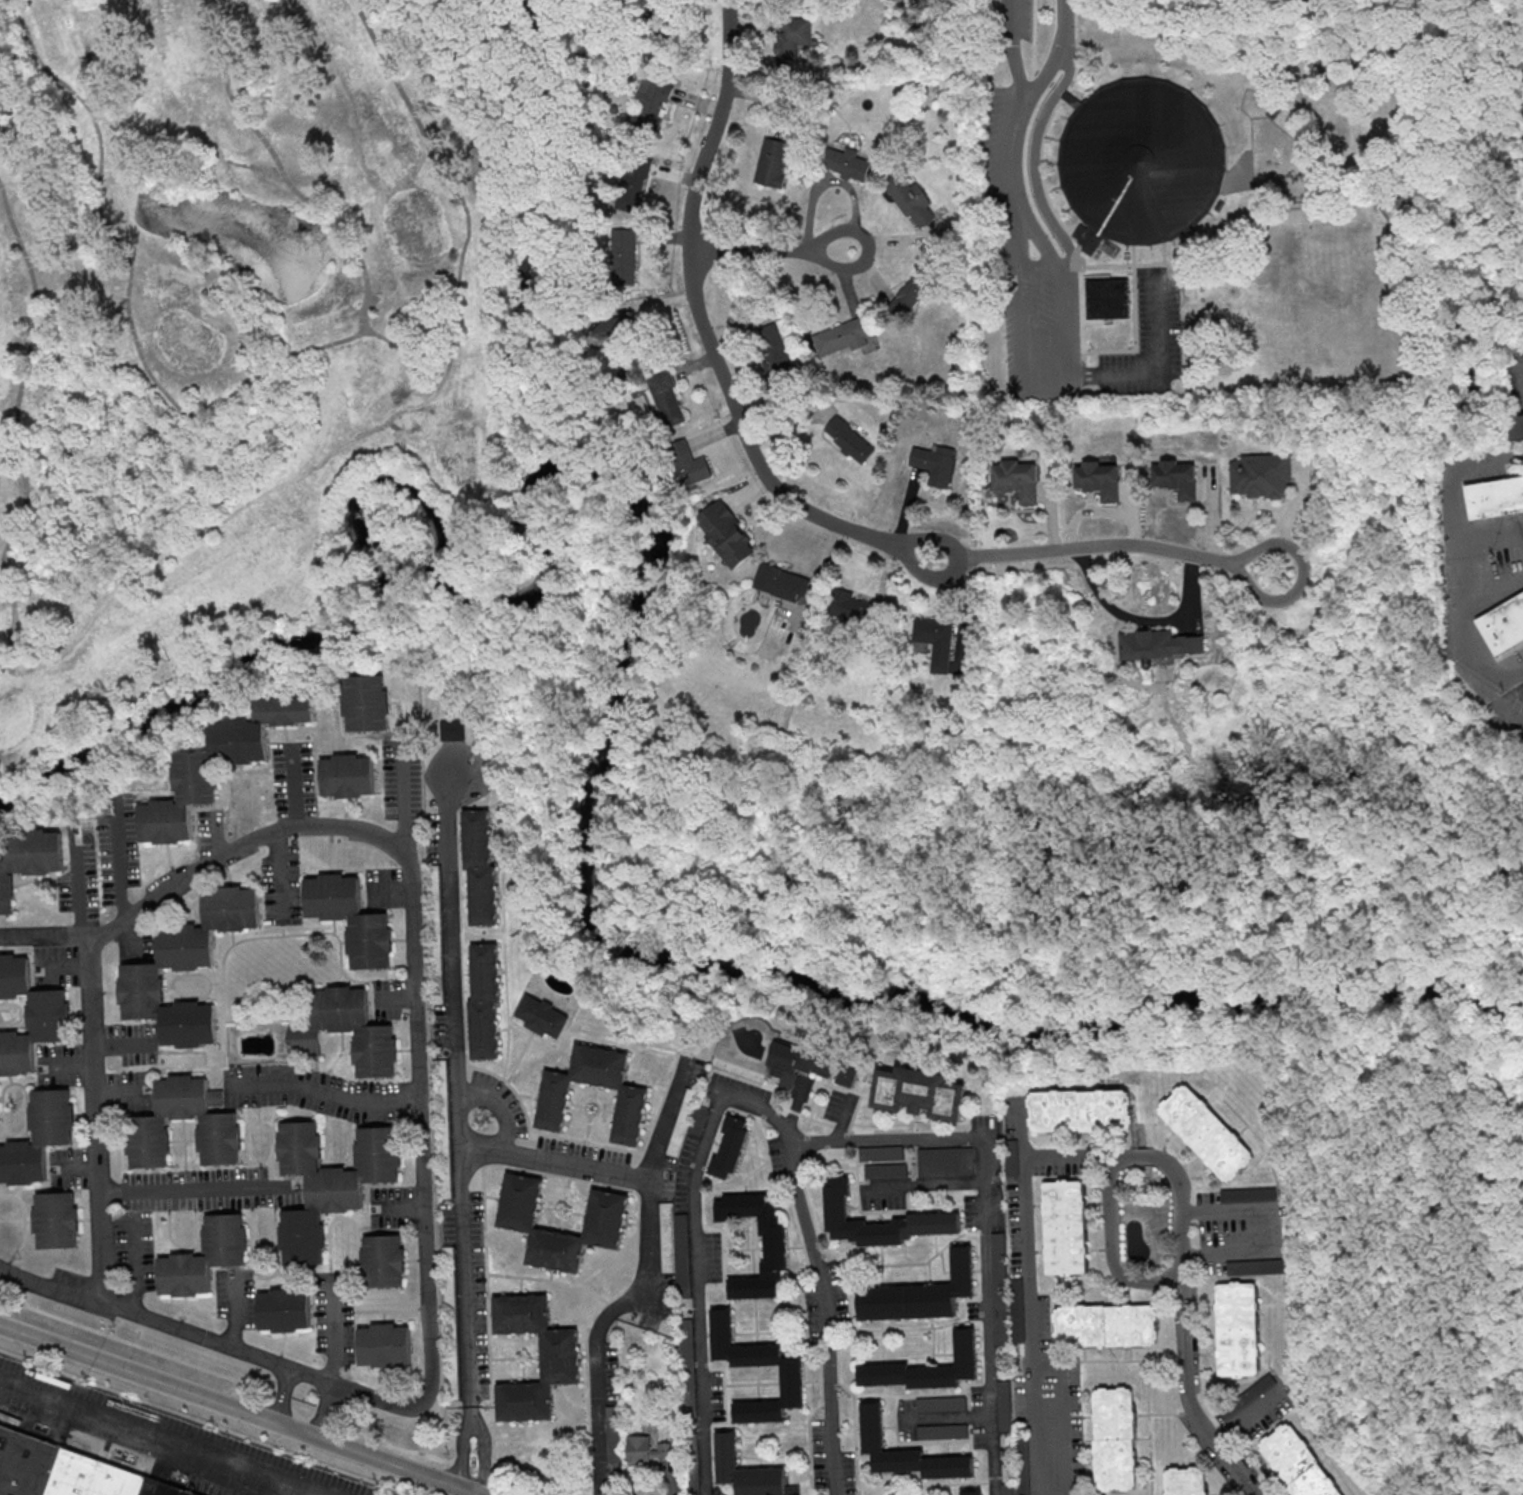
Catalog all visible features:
building: (792, 39)
road: (1012, 54)
road: (1060, 57)
road: (39, 59)
building: (650, 103)
building: (773, 161)
building: (845, 162)
building: (1139, 163)
building: (633, 185)
road: (1017, 189)
building: (911, 197)
road: (1023, 239)
building: (621, 248)
road: (783, 250)
road: (1040, 265)
building: (911, 293)
road: (374, 300)
building: (1109, 300)
road: (1064, 320)
building: (613, 326)
park: (235, 333)
building: (841, 334)
road: (375, 336)
building: (397, 341)
road: (1025, 345)
road: (711, 346)
building: (773, 347)
road: (1158, 369)
road: (251, 384)
building: (663, 395)
building: (1516, 425)
building: (849, 438)
building: (932, 462)
building: (689, 463)
building: (1258, 473)
building: (1172, 477)
building: (1014, 478)
building: (1095, 478)
building: (1494, 496)
building: (727, 533)
road: (182, 541)
road: (1118, 545)
road: (1464, 566)
building: (779, 580)
river: (376, 590)
building: (850, 605)
road: (1143, 619)
building: (1502, 622)
building: (934, 640)
building: (1154, 643)
building: (364, 701)
building: (454, 729)
building: (348, 775)
building: (198, 781)
road: (292, 784)
road: (403, 796)
building: (26, 856)
road: (117, 859)
building: (482, 866)
road: (277, 875)
road: (77, 888)
building: (348, 917)
building: (438, 933)
road: (63, 964)
river: (739, 967)
building: (137, 971)
road: (396, 997)
building: (487, 1000)
river: (1490, 1000)
building: (29, 1014)
building: (544, 1015)
building: (373, 1033)
road: (121, 1042)
building: (811, 1062)
road: (68, 1063)
building: (444, 1081)
road: (455, 1083)
road: (116, 1092)
building: (920, 1093)
road: (322, 1094)
road: (500, 1104)
building: (553, 1107)
building: (1081, 1109)
road: (95, 1118)
road: (842, 1118)
building: (687, 1120)
building: (144, 1121)
road: (420, 1131)
building: (1208, 1131)
building: (36, 1136)
road: (842, 1143)
building: (731, 1146)
building: (881, 1152)
building: (1012, 1157)
road: (553, 1161)
building: (946, 1161)
road: (72, 1166)
building: (886, 1170)
building: (446, 1175)
building: (330, 1182)
road: (929, 1183)
road: (190, 1190)
building: (1250, 1194)
building: (833, 1202)
road: (400, 1206)
building: (603, 1209)
building: (53, 1218)
building: (1066, 1226)
road: (1275, 1231)
building: (772, 1247)
road: (1113, 1248)
building: (201, 1256)
building: (380, 1260)
road: (1185, 1266)
road: (134, 1268)
road: (638, 1282)
road: (697, 1292)
building: (916, 1293)
building: (284, 1309)
building: (1018, 1314)
road: (987, 1315)
road: (823, 1317)
building: (452, 1322)
building: (1107, 1325)
road: (1032, 1326)
building: (1239, 1328)
road: (333, 1330)
building: (1002, 1333)
building: (385, 1344)
building: (556, 1357)
building: (740, 1365)
building: (923, 1367)
building: (691, 1393)
road: (280, 1395)
building: (1250, 1396)
building: (941, 1403)
road: (242, 1410)
road: (324, 1410)
road: (946, 1417)
road: (1063, 1420)
building: (942, 1431)
building: (614, 1432)
road: (167, 1435)
building: (1116, 1438)
building: (646, 1449)
road: (461, 1450)
building: (903, 1451)
road: (482, 1454)
building: (1299, 1462)
building: (67, 1471)
building: (745, 1471)
building: (1187, 1480)
building: (968, 1492)
building: (394, 1494)

